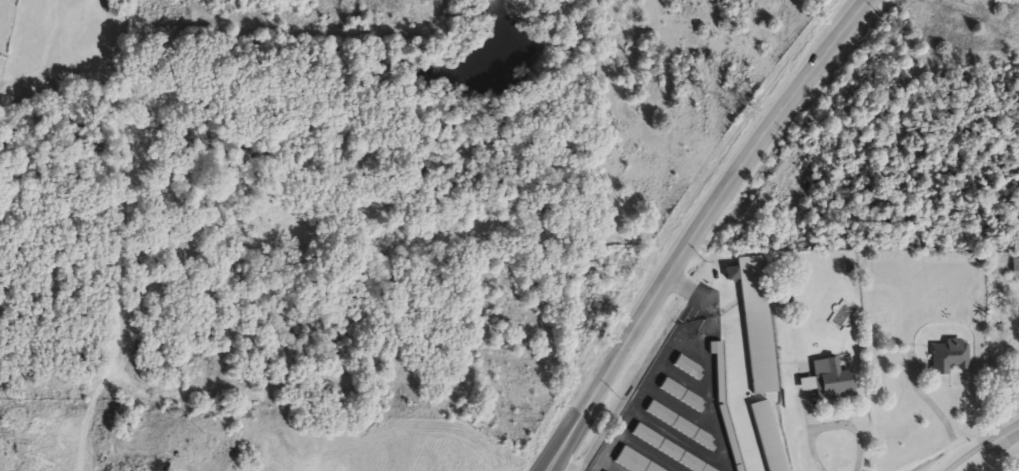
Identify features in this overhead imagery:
road: (705, 232)
building: (1016, 269)
building: (754, 323)
road: (701, 331)
building: (783, 342)
building: (948, 358)
road: (733, 359)
building: (717, 365)
building: (687, 369)
building: (832, 382)
road: (710, 396)
building: (682, 397)
road: (634, 406)
road: (936, 409)
road: (836, 421)
building: (679, 427)
building: (727, 429)
building: (768, 437)
road: (984, 448)
building: (630, 463)
building: (692, 464)

